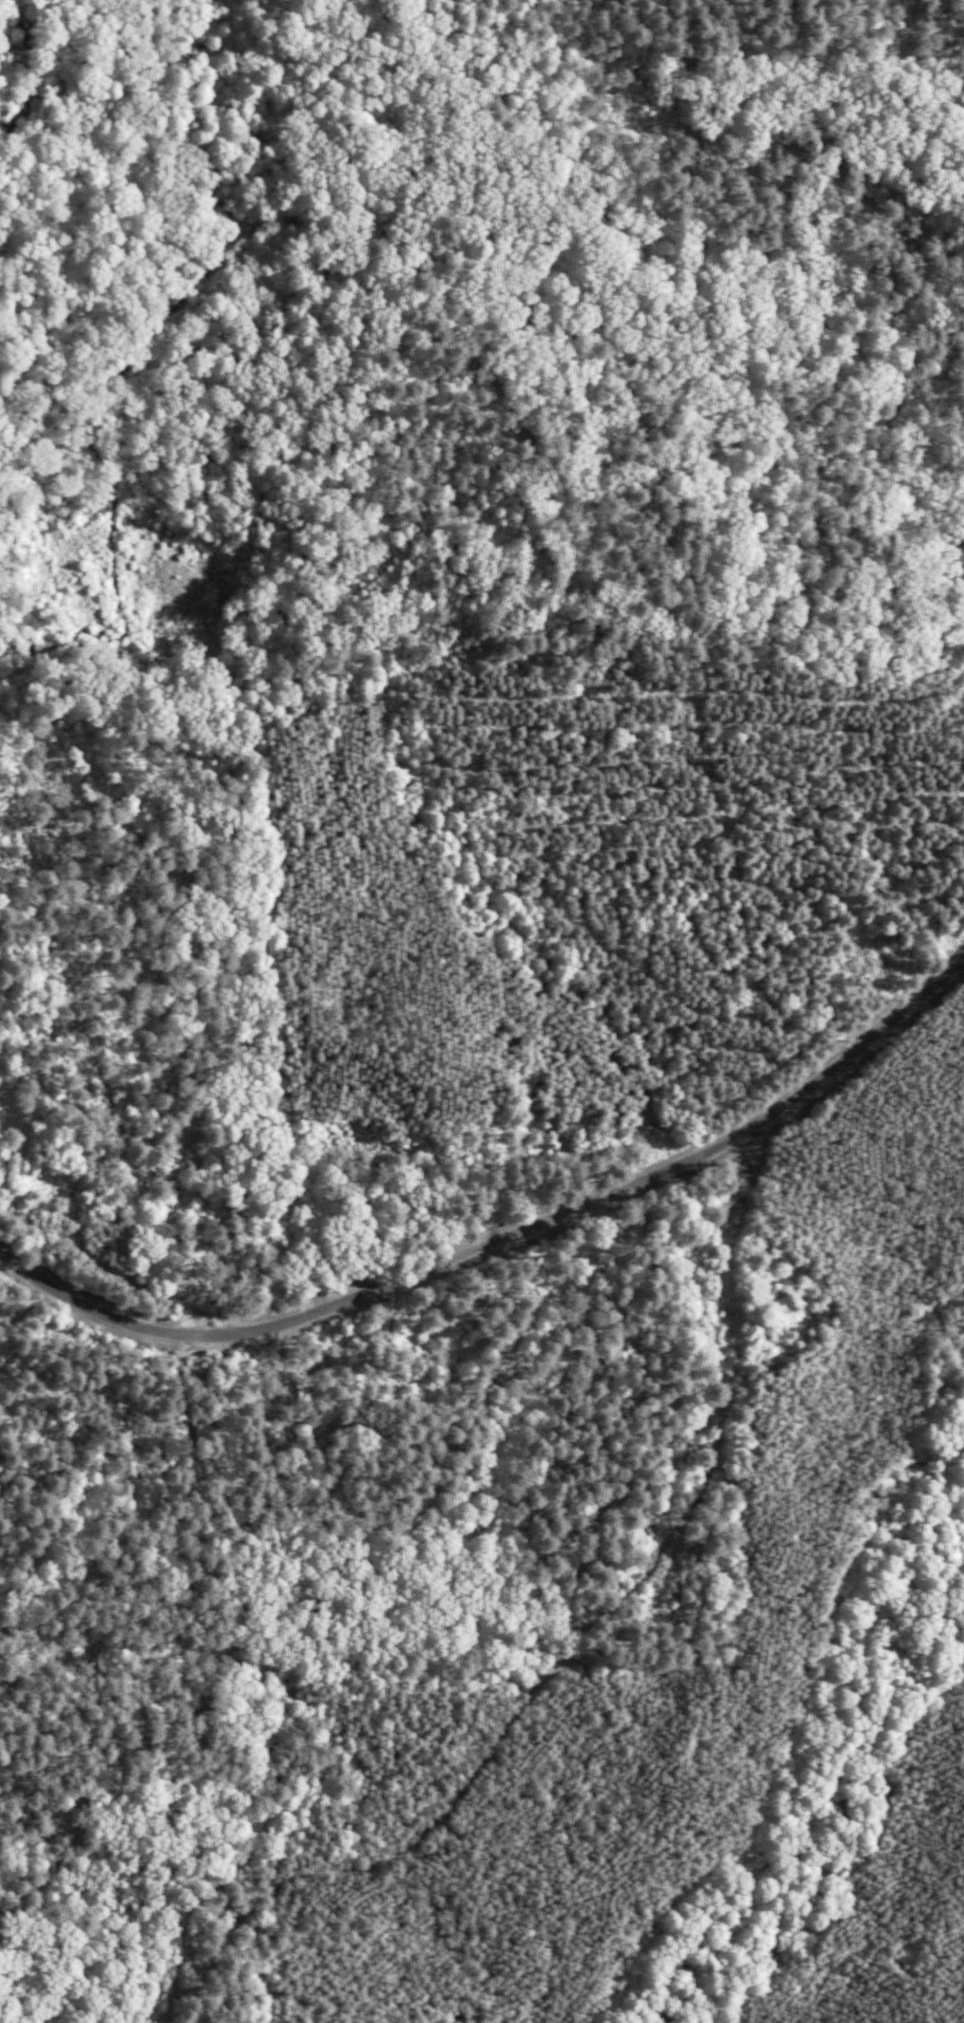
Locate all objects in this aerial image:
road: (504, 1234)

